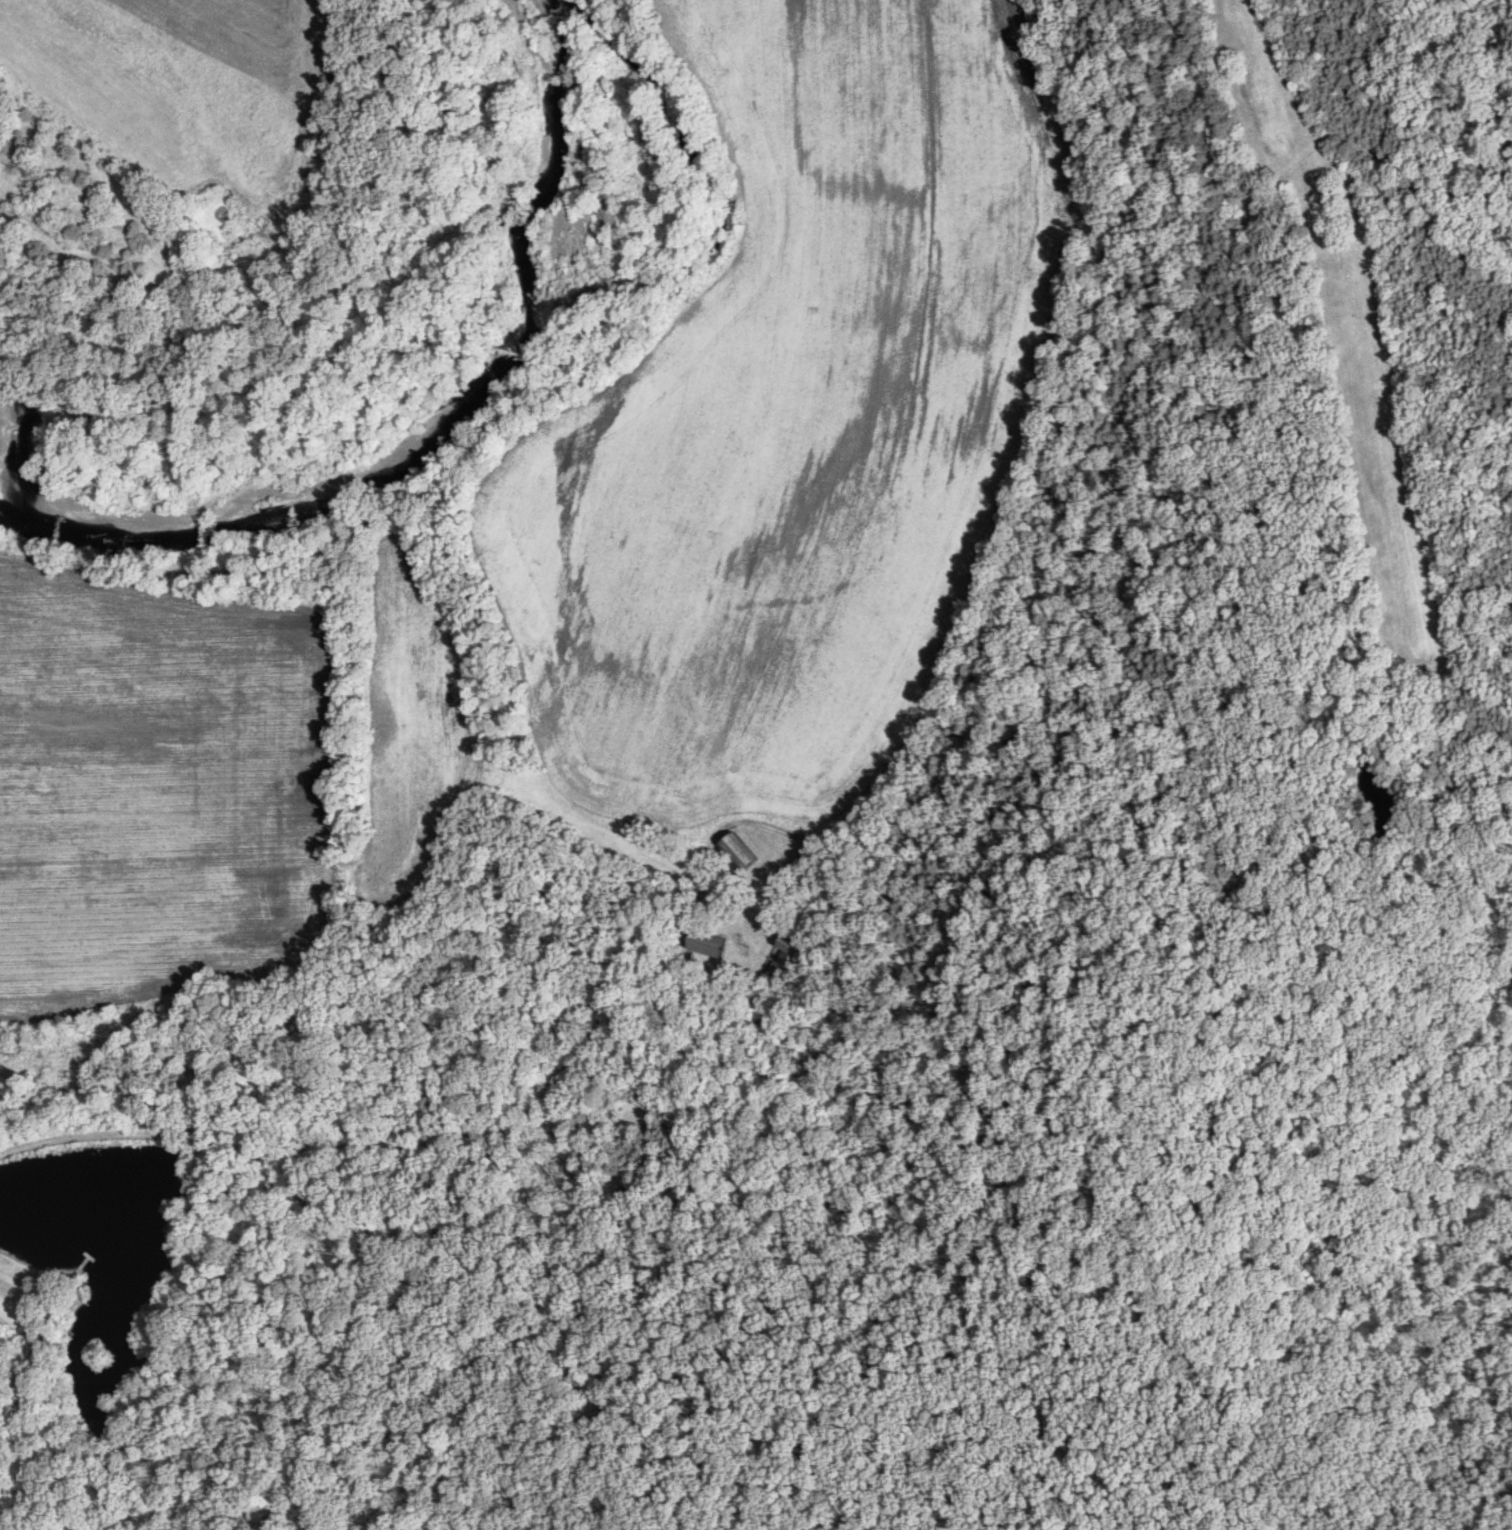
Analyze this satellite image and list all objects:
building: (734, 852)
road: (854, 889)
building: (700, 943)
building: (782, 959)

